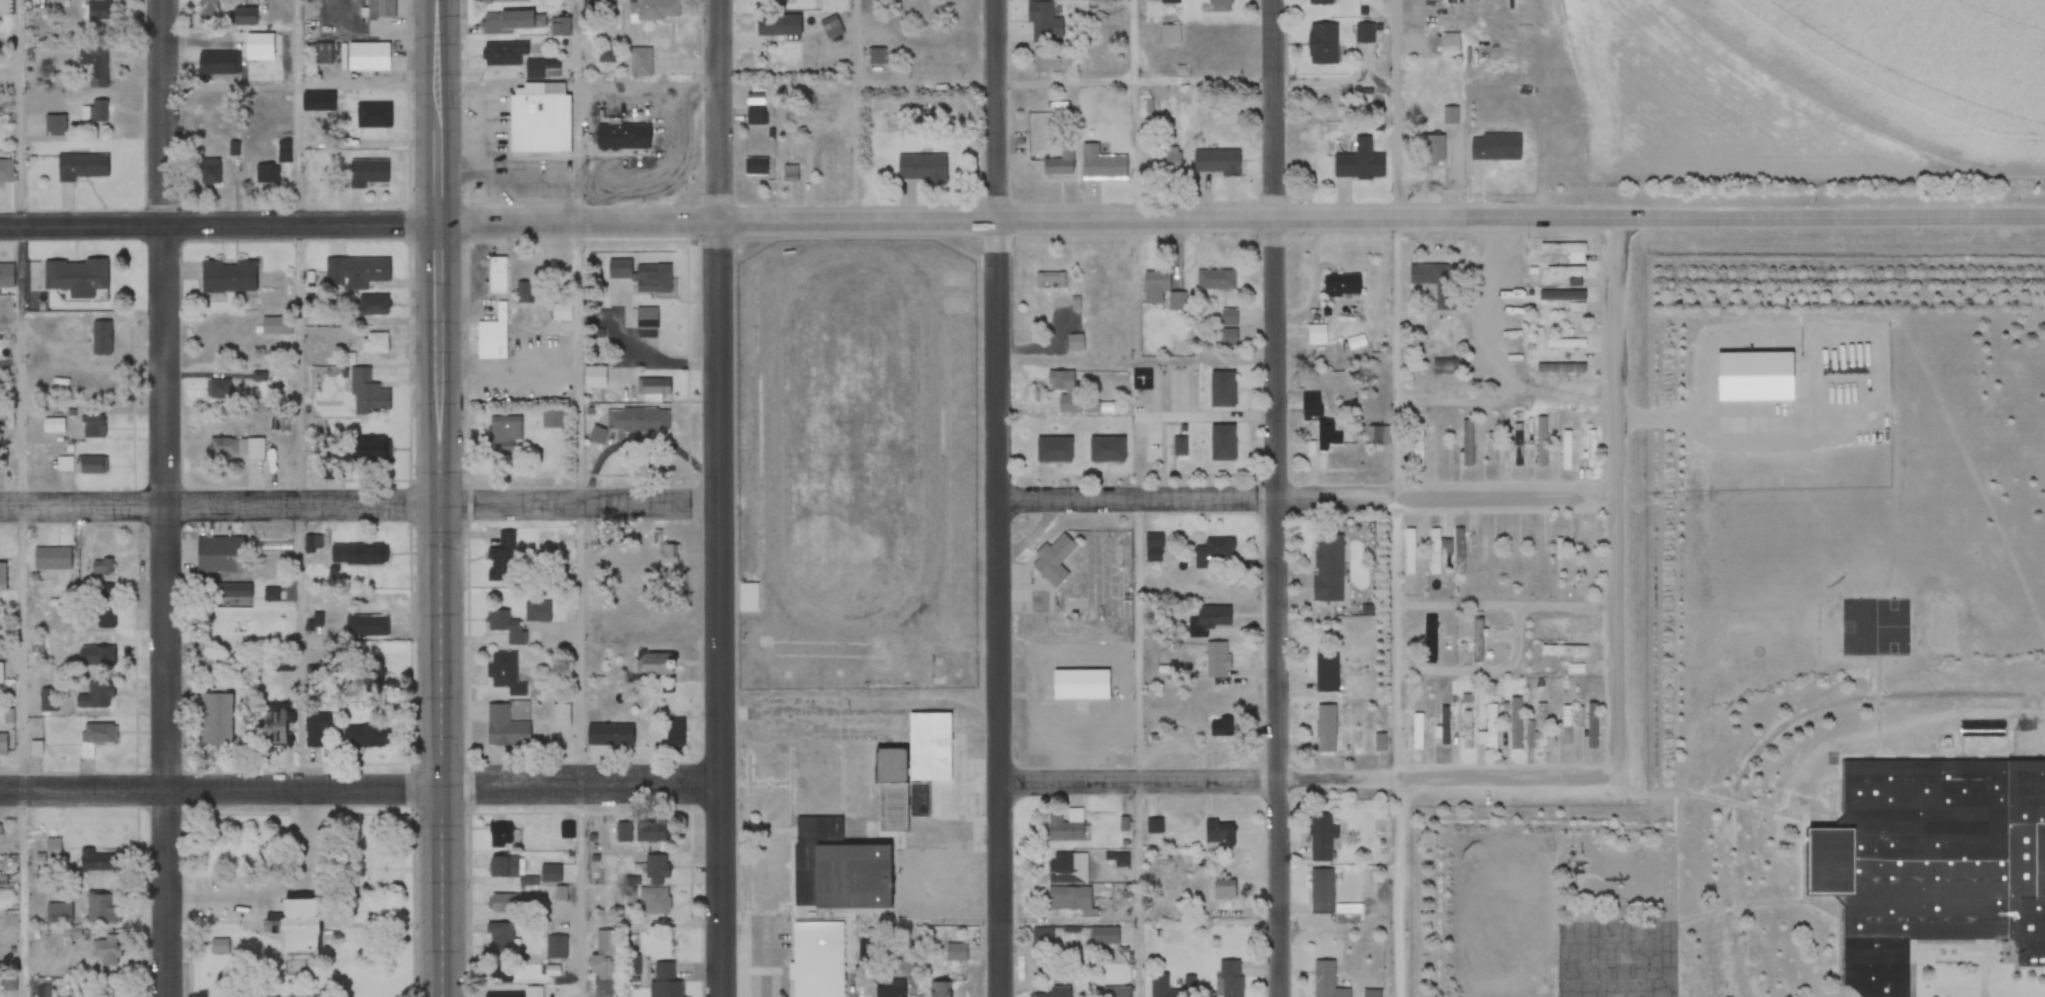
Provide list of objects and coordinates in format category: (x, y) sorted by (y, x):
building: (505, 1)
building: (940, 1)
building: (1170, 2)
building: (1319, 2)
building: (596, 6)
building: (1219, 6)
building: (209, 9)
building: (380, 9)
building: (98, 10)
building: (653, 10)
building: (243, 16)
building: (1043, 19)
building: (506, 21)
building: (777, 25)
building: (560, 26)
building: (832, 26)
building: (1365, 33)
building: (1171, 35)
building: (1322, 44)
building: (1449, 46)
building: (323, 54)
building: (502, 54)
building: (879, 56)
building: (366, 57)
building: (640, 62)
building: (1052, 62)
building: (95, 65)
building: (541, 68)
road: (1136, 87)
building: (312, 101)
road: (1395, 107)
road: (1134, 110)
road: (860, 111)
building: (95, 112)
building: (374, 115)
building: (1451, 115)
building: (757, 116)
building: (540, 121)
building: (55, 125)
building: (622, 137)
building: (1495, 147)
building: (1433, 151)
building: (1061, 161)
building: (1166, 161)
building: (1216, 161)
building: (1359, 162)
building: (1102, 163)
building: (274, 165)
building: (757, 166)
building: (82, 167)
building: (922, 168)
building: (6, 170)
building: (210, 171)
building: (369, 173)
road: (1830, 213)
road: (1028, 222)
road: (220, 226)
building: (1567, 250)
building: (1566, 271)
building: (355, 272)
building: (635, 274)
building: (498, 275)
building: (6, 276)
building: (228, 276)
building: (1054, 279)
building: (1216, 280)
building: (1436, 282)
building: (96, 283)
building: (1341, 285)
building: (1155, 286)
building: (0, 292)
building: (526, 292)
building: (1562, 296)
building: (373, 305)
building: (558, 307)
building: (1229, 317)
building: (277, 326)
building: (1318, 333)
building: (494, 335)
building: (1230, 338)
building: (101, 339)
building: (376, 343)
building: (1076, 343)
building: (1357, 343)
building: (1566, 344)
road: (12, 365)
building: (1447, 366)
building: (1560, 369)
building: (1060, 381)
building: (1221, 390)
road: (303, 393)
building: (369, 396)
building: (1310, 402)
building: (630, 424)
building: (94, 428)
building: (1327, 435)
building: (503, 436)
building: (1375, 436)
building: (1443, 439)
building: (1542, 443)
building: (1221, 444)
building: (1467, 444)
building: (1418, 445)
building: (1518, 445)
building: (1179, 447)
building: (237, 448)
building: (1052, 450)
building: (1106, 450)
building: (365, 451)
building: (65, 464)
building: (93, 465)
road: (1617, 497)
road: (25, 498)
road: (166, 498)
road: (442, 498)
road: (582, 498)
road: (718, 498)
road: (998, 498)
road: (1276, 498)
road: (1307, 499)
road: (581, 505)
road: (221, 508)
building: (1154, 548)
building: (1484, 549)
building: (1409, 552)
building: (1511, 552)
building: (1560, 552)
building: (233, 553)
building: (358, 553)
building: (1216, 553)
building: (671, 554)
building: (505, 556)
building: (52, 558)
building: (1053, 561)
building: (103, 567)
building: (1328, 572)
building: (2, 580)
building: (225, 592)
building: (749, 597)
road: (1507, 606)
building: (106, 607)
building: (538, 612)
building: (1208, 621)
building: (367, 626)
building: (505, 626)
building: (1877, 628)
building: (1432, 636)
building: (1478, 641)
building: (1563, 650)
building: (1217, 660)
building: (658, 664)
building: (1326, 672)
building: (2, 673)
building: (505, 674)
building: (370, 675)
building: (1080, 685)
building: (95, 696)
building: (9, 717)
building: (214, 720)
building: (1566, 723)
building: (274, 726)
building: (1592, 726)
building: (1542, 727)
building: (315, 728)
building: (504, 728)
building: (1325, 729)
building: (1489, 729)
building: (1980, 729)
building: (673, 733)
road: (2039, 733)
building: (618, 735)
building: (360, 736)
building: (96, 737)
building: (4, 745)
road: (1398, 747)
building: (36, 749)
building: (909, 767)
road: (1311, 779)
road: (582, 783)
road: (222, 786)
building: (1062, 829)
building: (650, 831)
building: (567, 832)
building: (1219, 833)
building: (501, 835)
building: (1320, 838)
building: (54, 851)
building: (101, 858)
building: (1931, 863)
building: (504, 865)
building: (1067, 868)
building: (655, 869)
building: (838, 869)
building: (3, 879)
building: (1321, 891)
building: (1225, 892)
building: (655, 900)
building: (1071, 900)
building: (510, 902)
building: (99, 906)
building: (59, 911)
building: (289, 924)
building: (1103, 935)
building: (1042, 938)
building: (499, 939)
building: (555, 946)
building: (108, 951)
building: (955, 952)
building: (818, 959)
building: (603, 963)
building: (1228, 978)
building: (1325, 980)
building: (664, 981)
building: (1190, 984)
building: (1160, 985)
building: (42, 987)
building: (533, 989)
building: (891, 989)
building: (940, 990)
building: (1114, 991)
building: (1370, 993)
building: (1047, 995)

